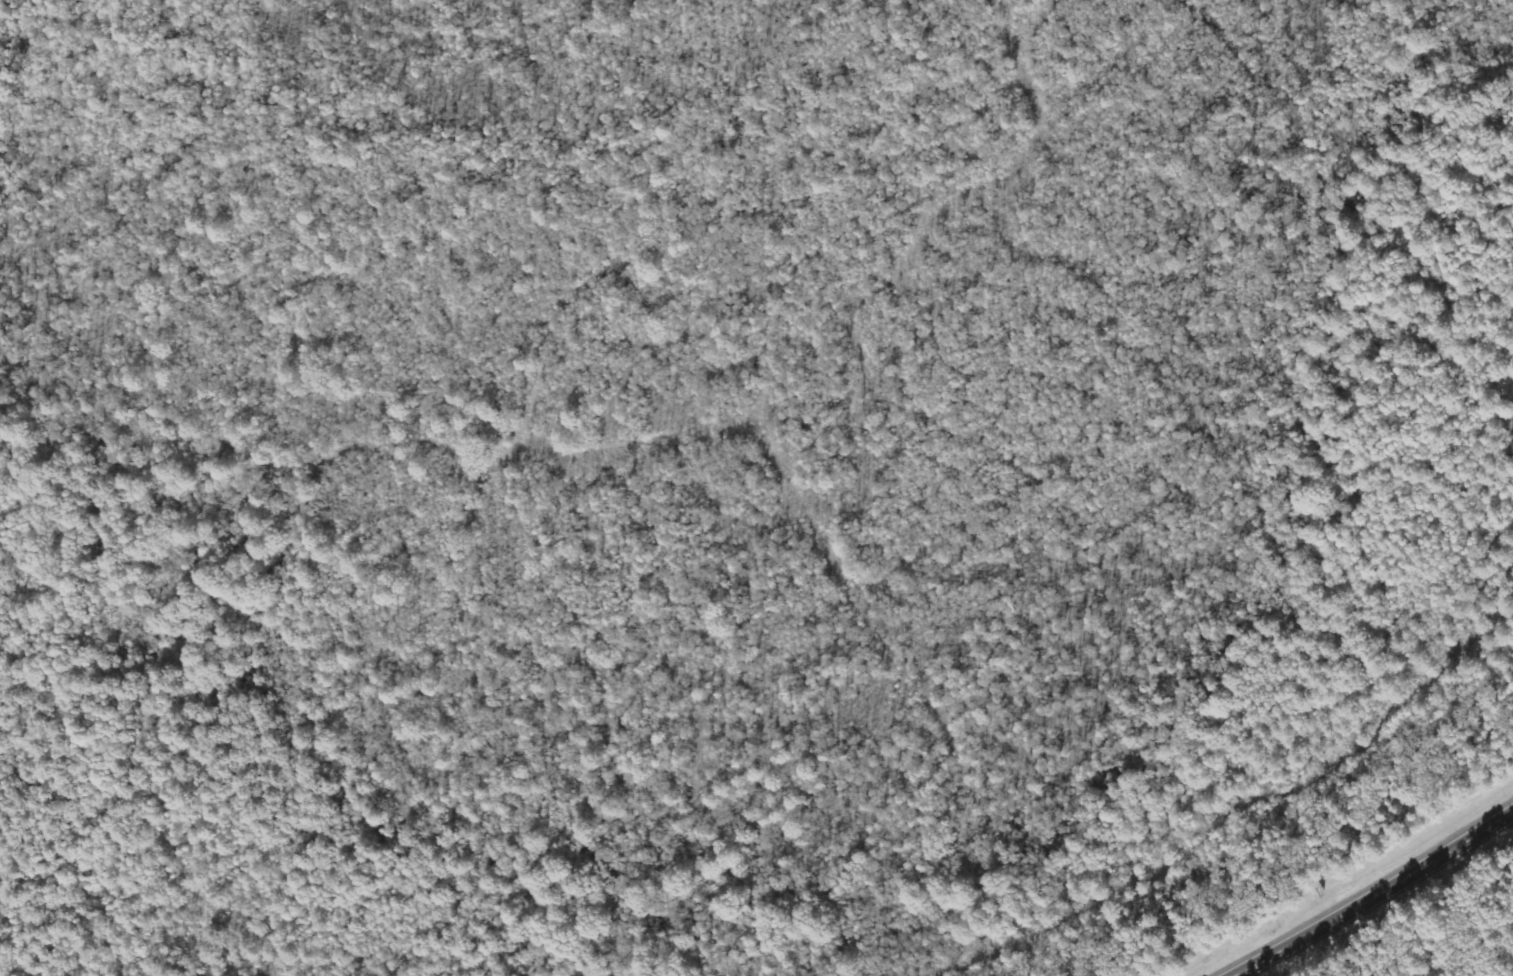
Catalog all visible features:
road: (1373, 893)

